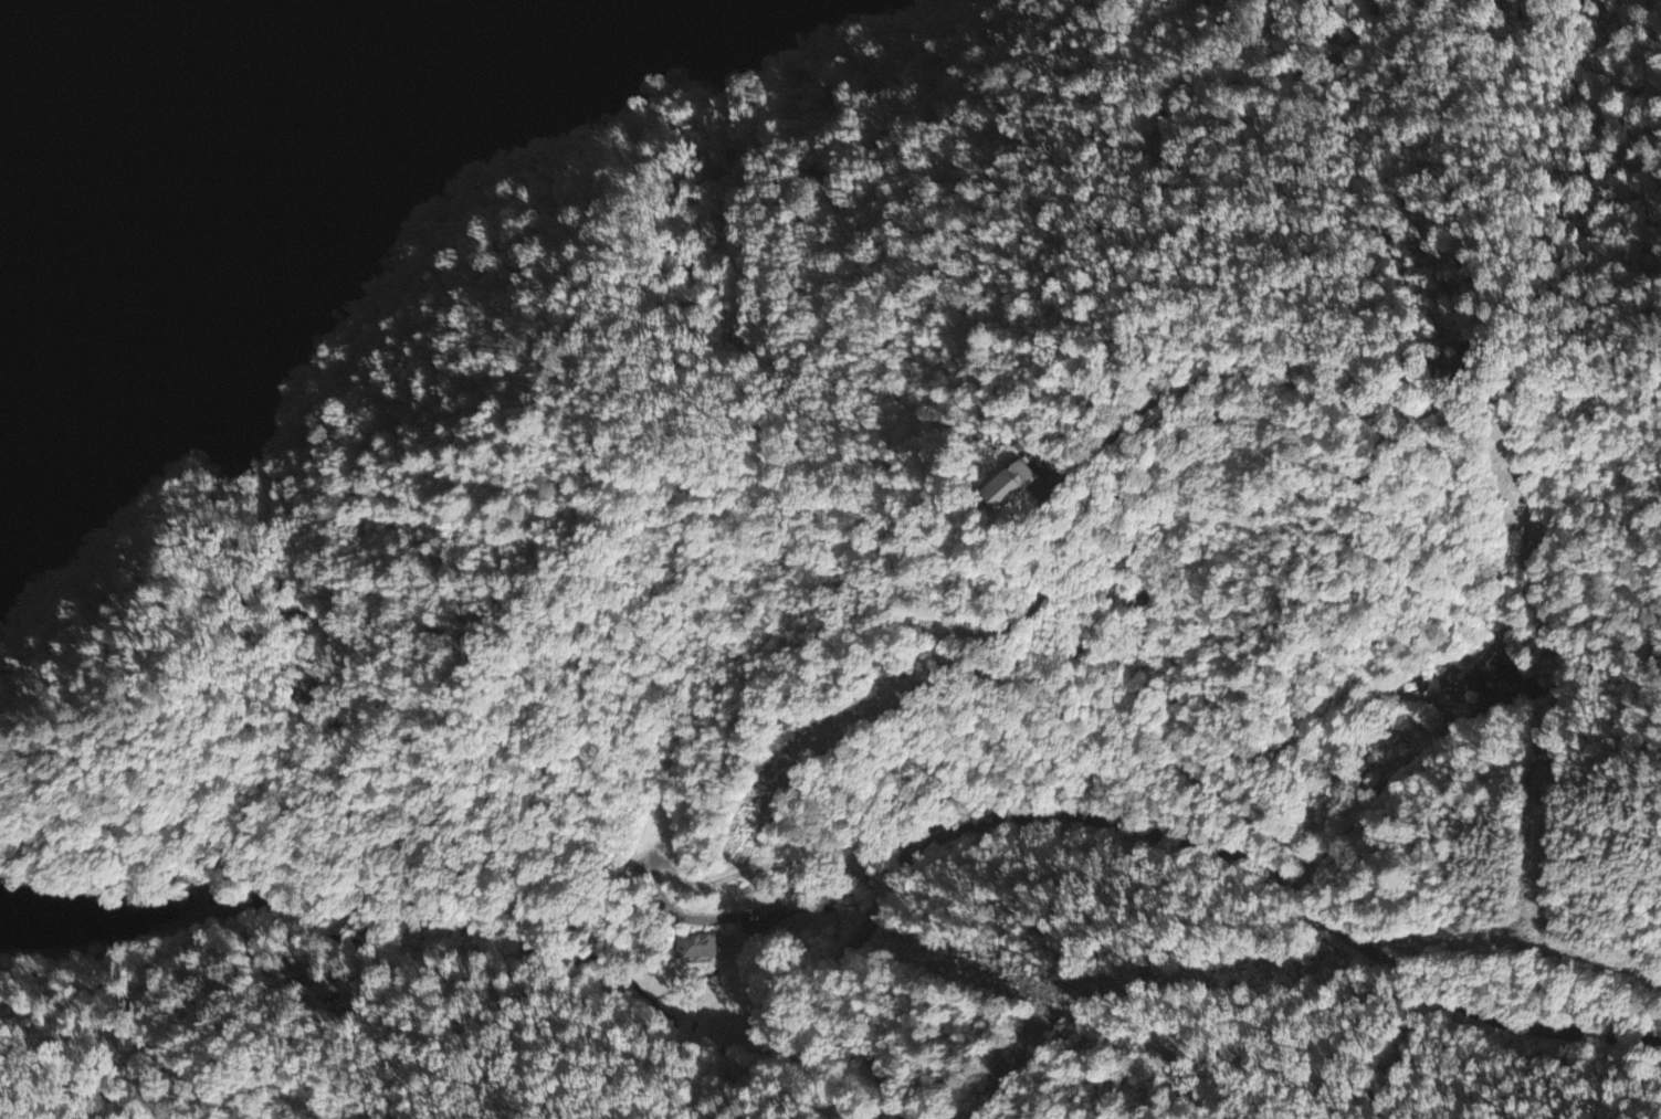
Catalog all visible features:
river: (253, 21)
river: (116, 134)
building: (1016, 488)
road: (1418, 503)
road: (1339, 608)
building: (1487, 669)
road: (1189, 802)
building: (696, 949)

